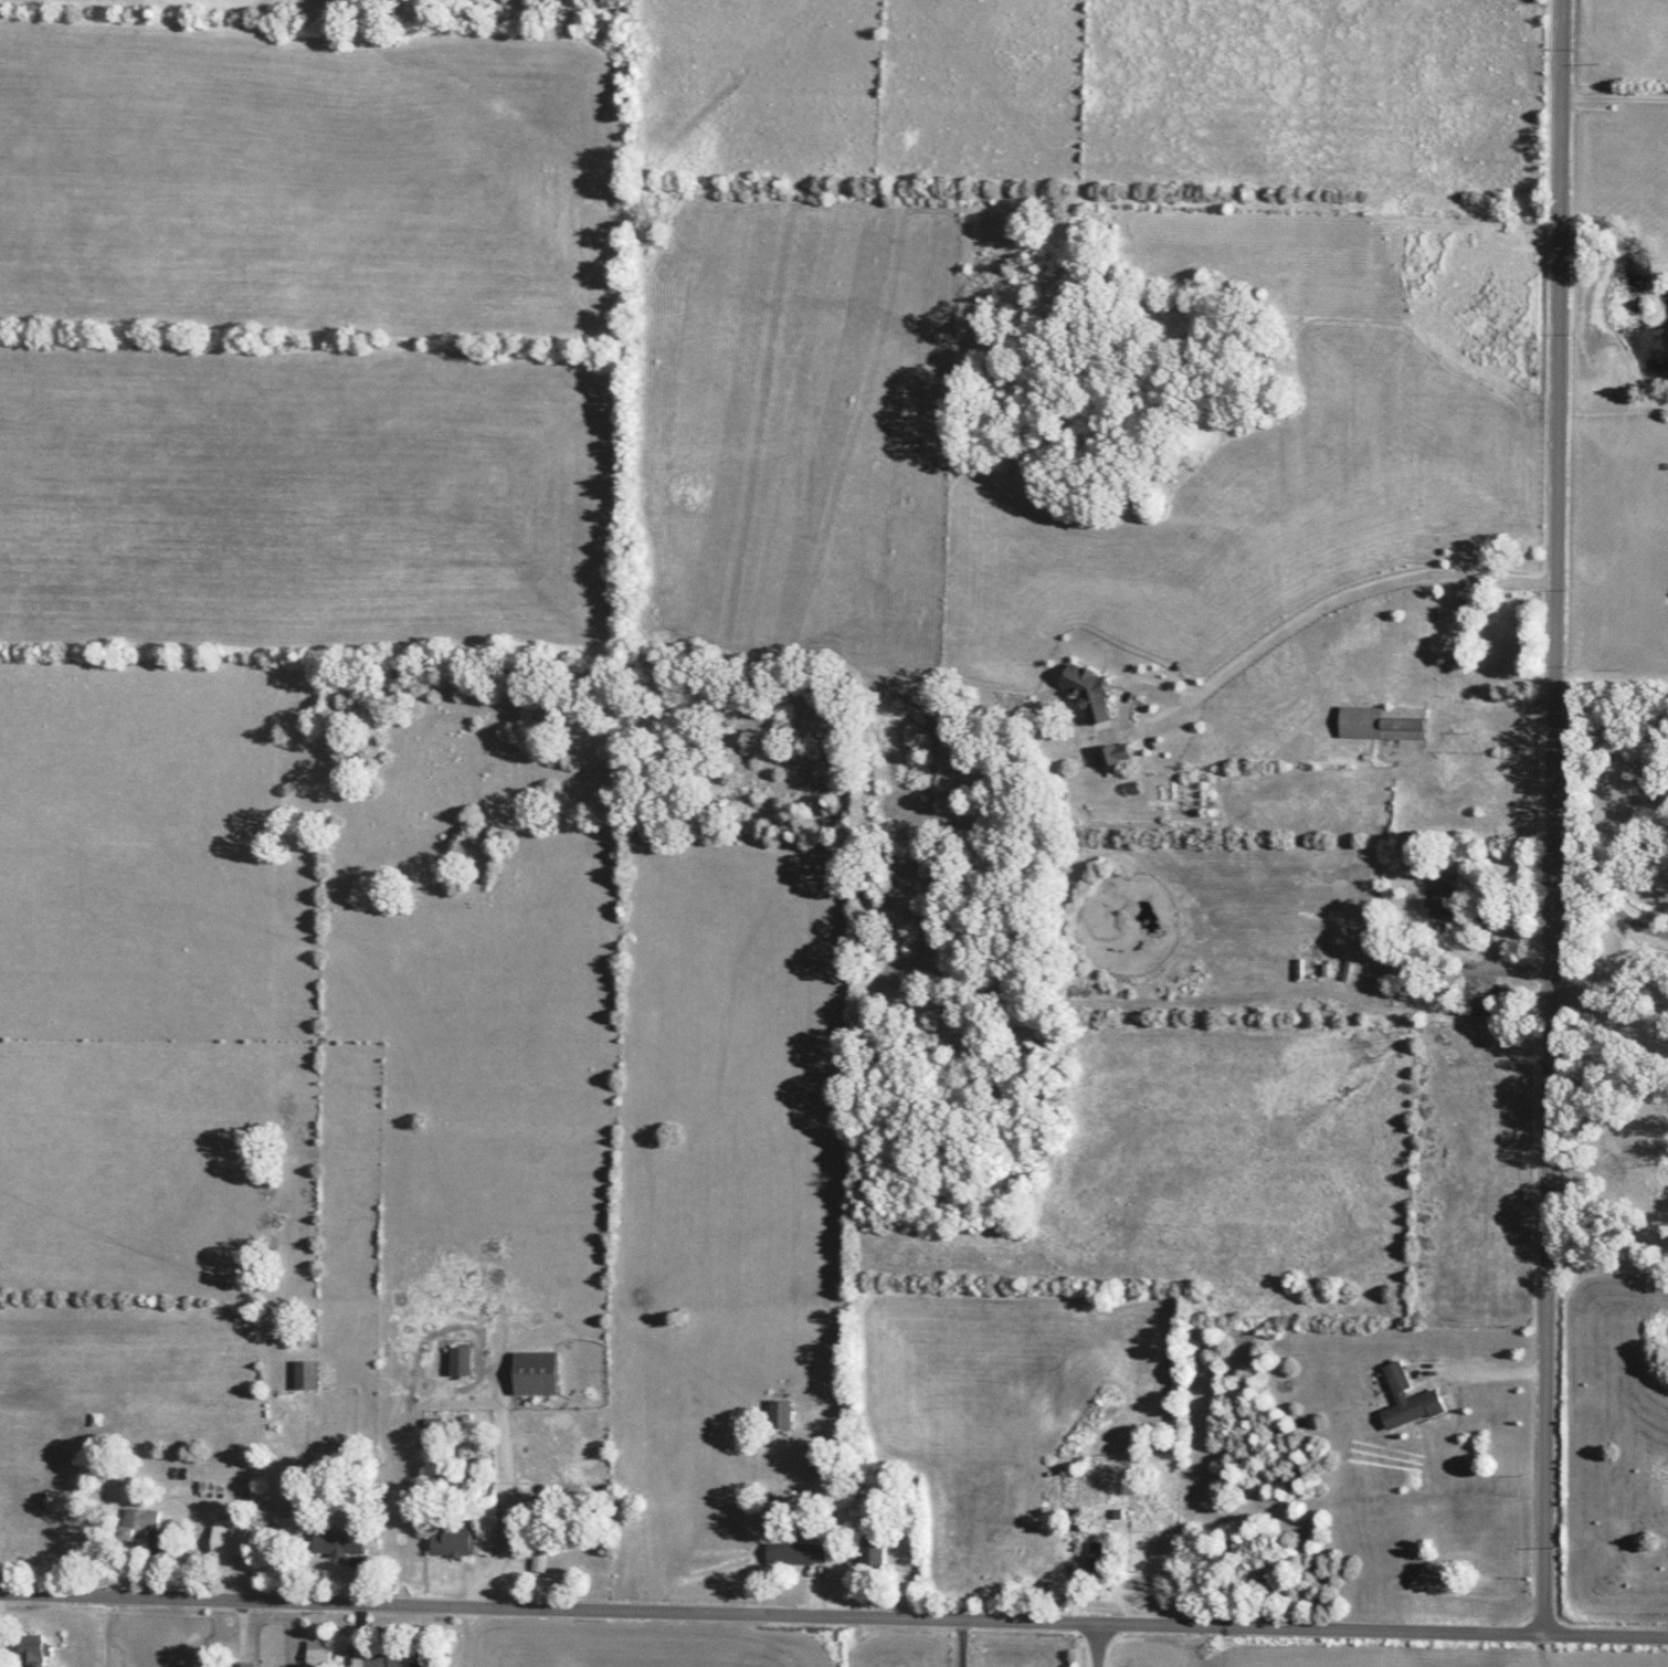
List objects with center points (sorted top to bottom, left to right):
road: (1616, 96)
road: (1278, 633)
road: (1612, 680)
building: (1382, 722)
road: (1556, 816)
building: (1443, 896)
road: (1609, 899)
building: (1477, 1004)
road: (1609, 1257)
building: (460, 1362)
road: (1490, 1373)
building: (535, 1374)
building: (305, 1375)
building: (1406, 1401)
building: (780, 1415)
building: (820, 1464)
building: (226, 1538)
building: (337, 1542)
building: (454, 1542)
building: (869, 1550)
building: (795, 1554)
building: (1097, 1560)
road: (833, 1615)
road: (962, 1643)
building: (30, 1652)
building: (317, 1657)
building: (381, 1659)
building: (240, 1665)

